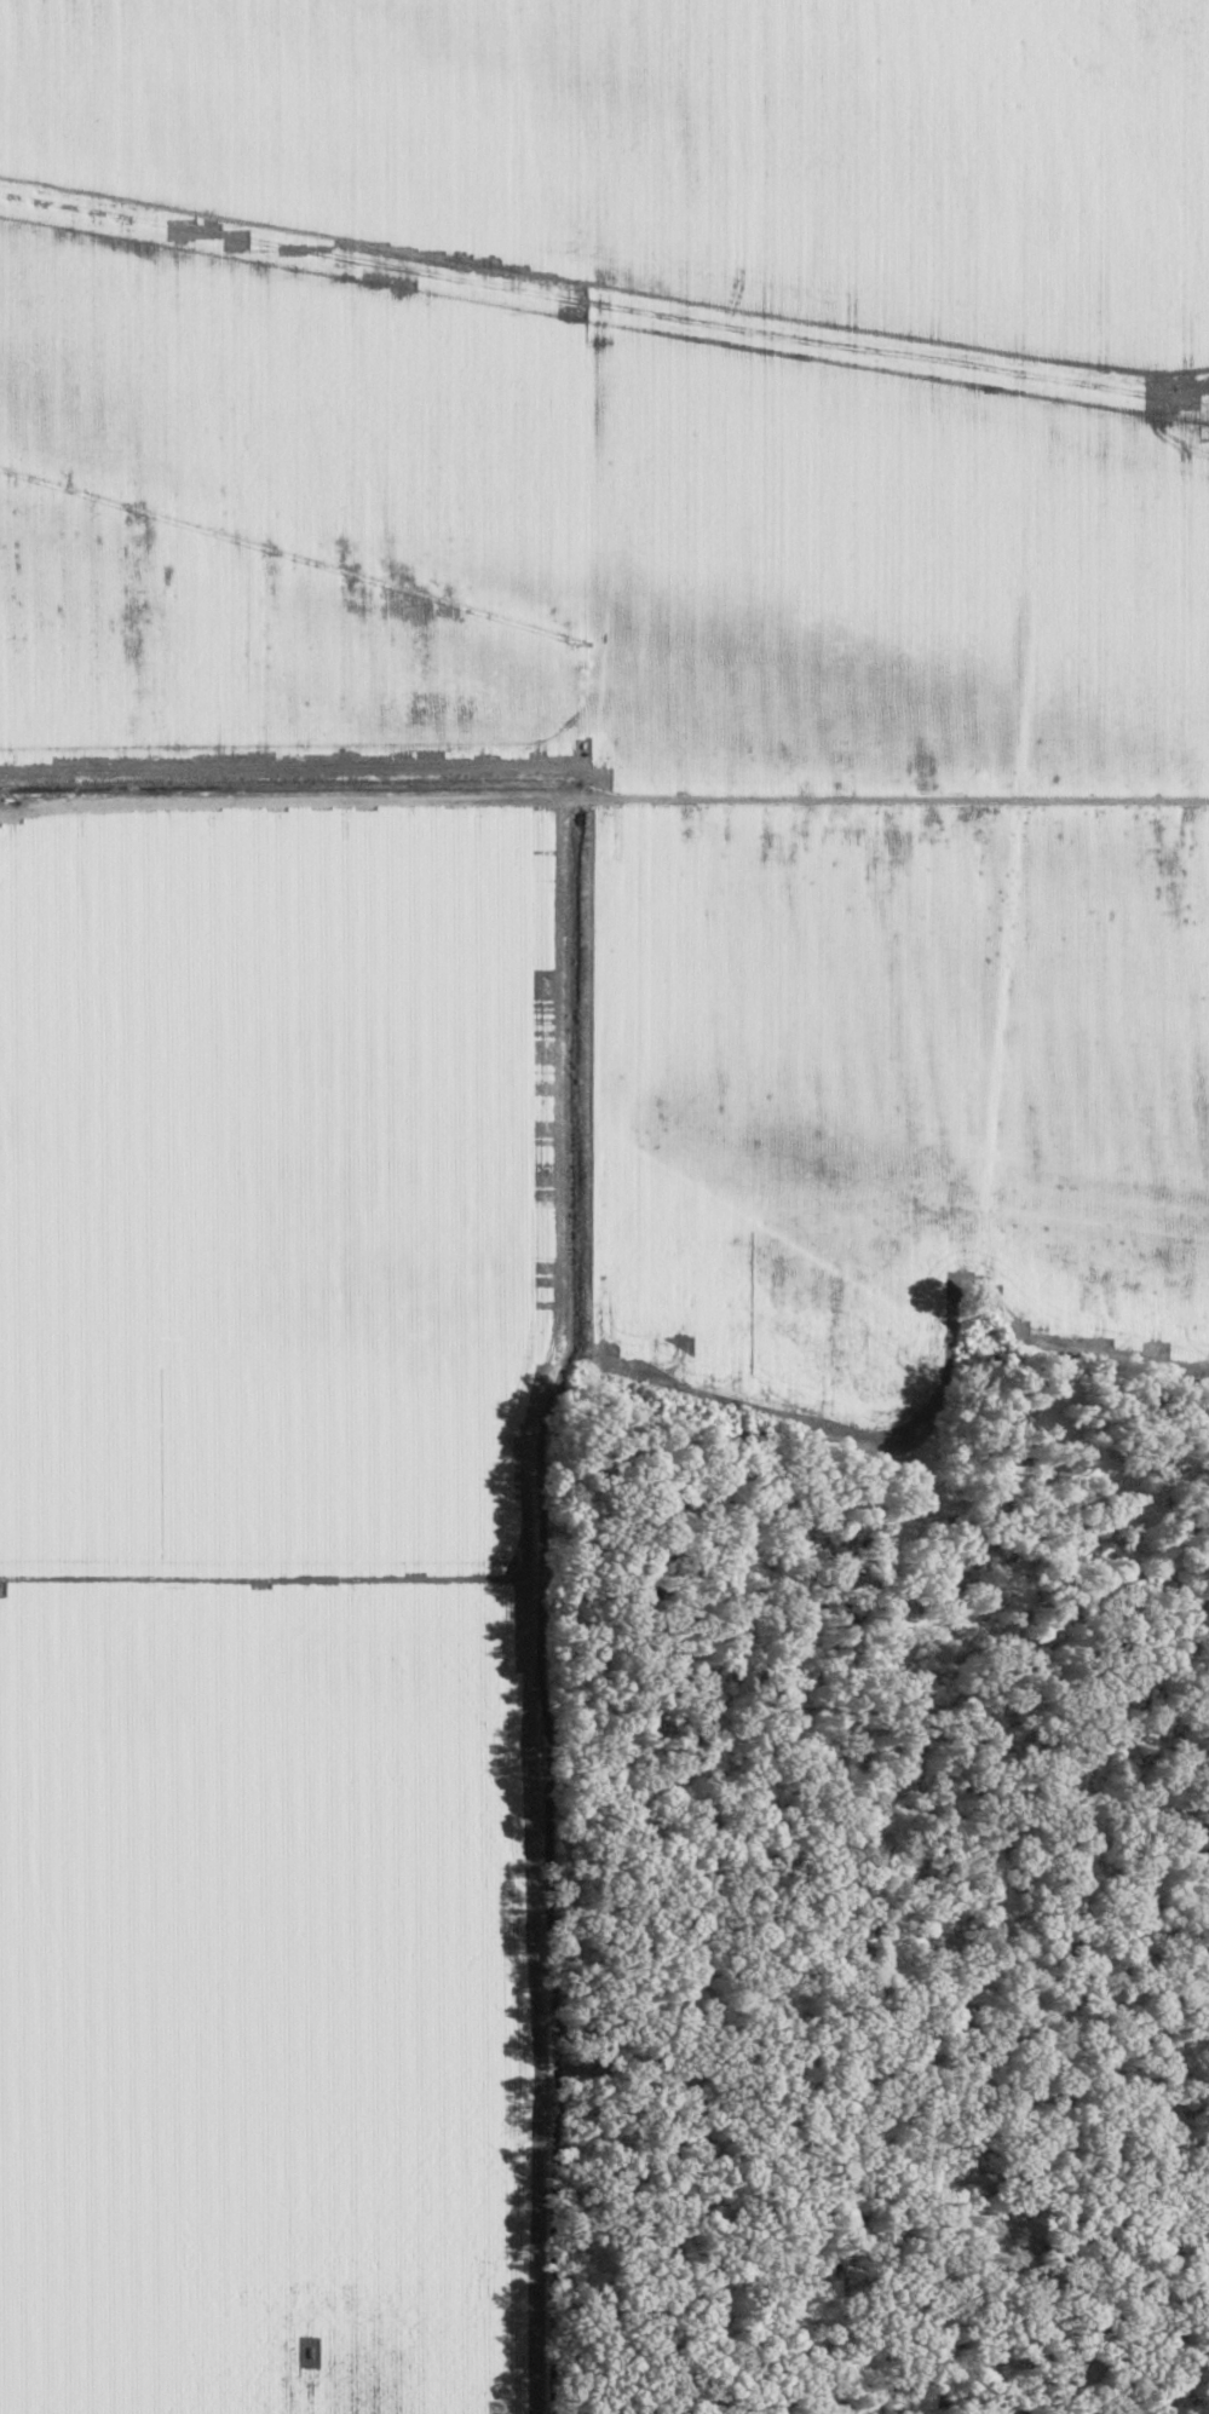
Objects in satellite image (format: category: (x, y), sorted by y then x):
road: (305, 801)

